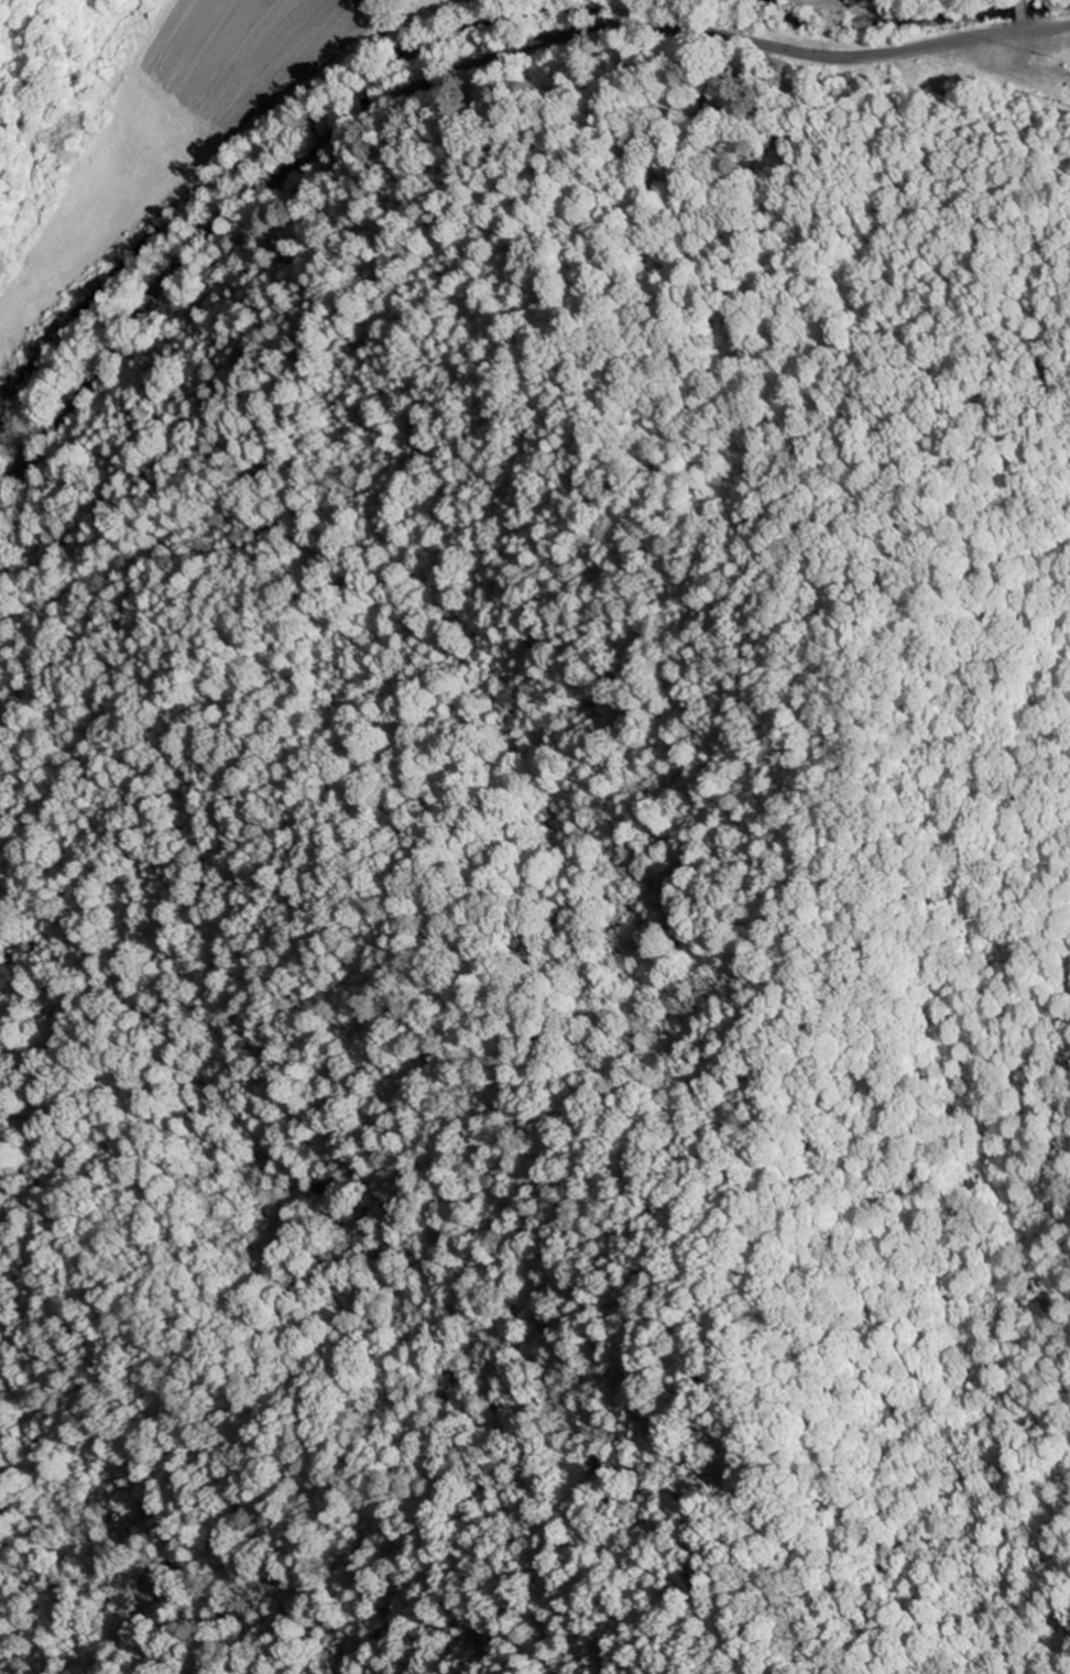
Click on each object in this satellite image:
road: (1020, 14)
road: (455, 73)
road: (228, 547)

